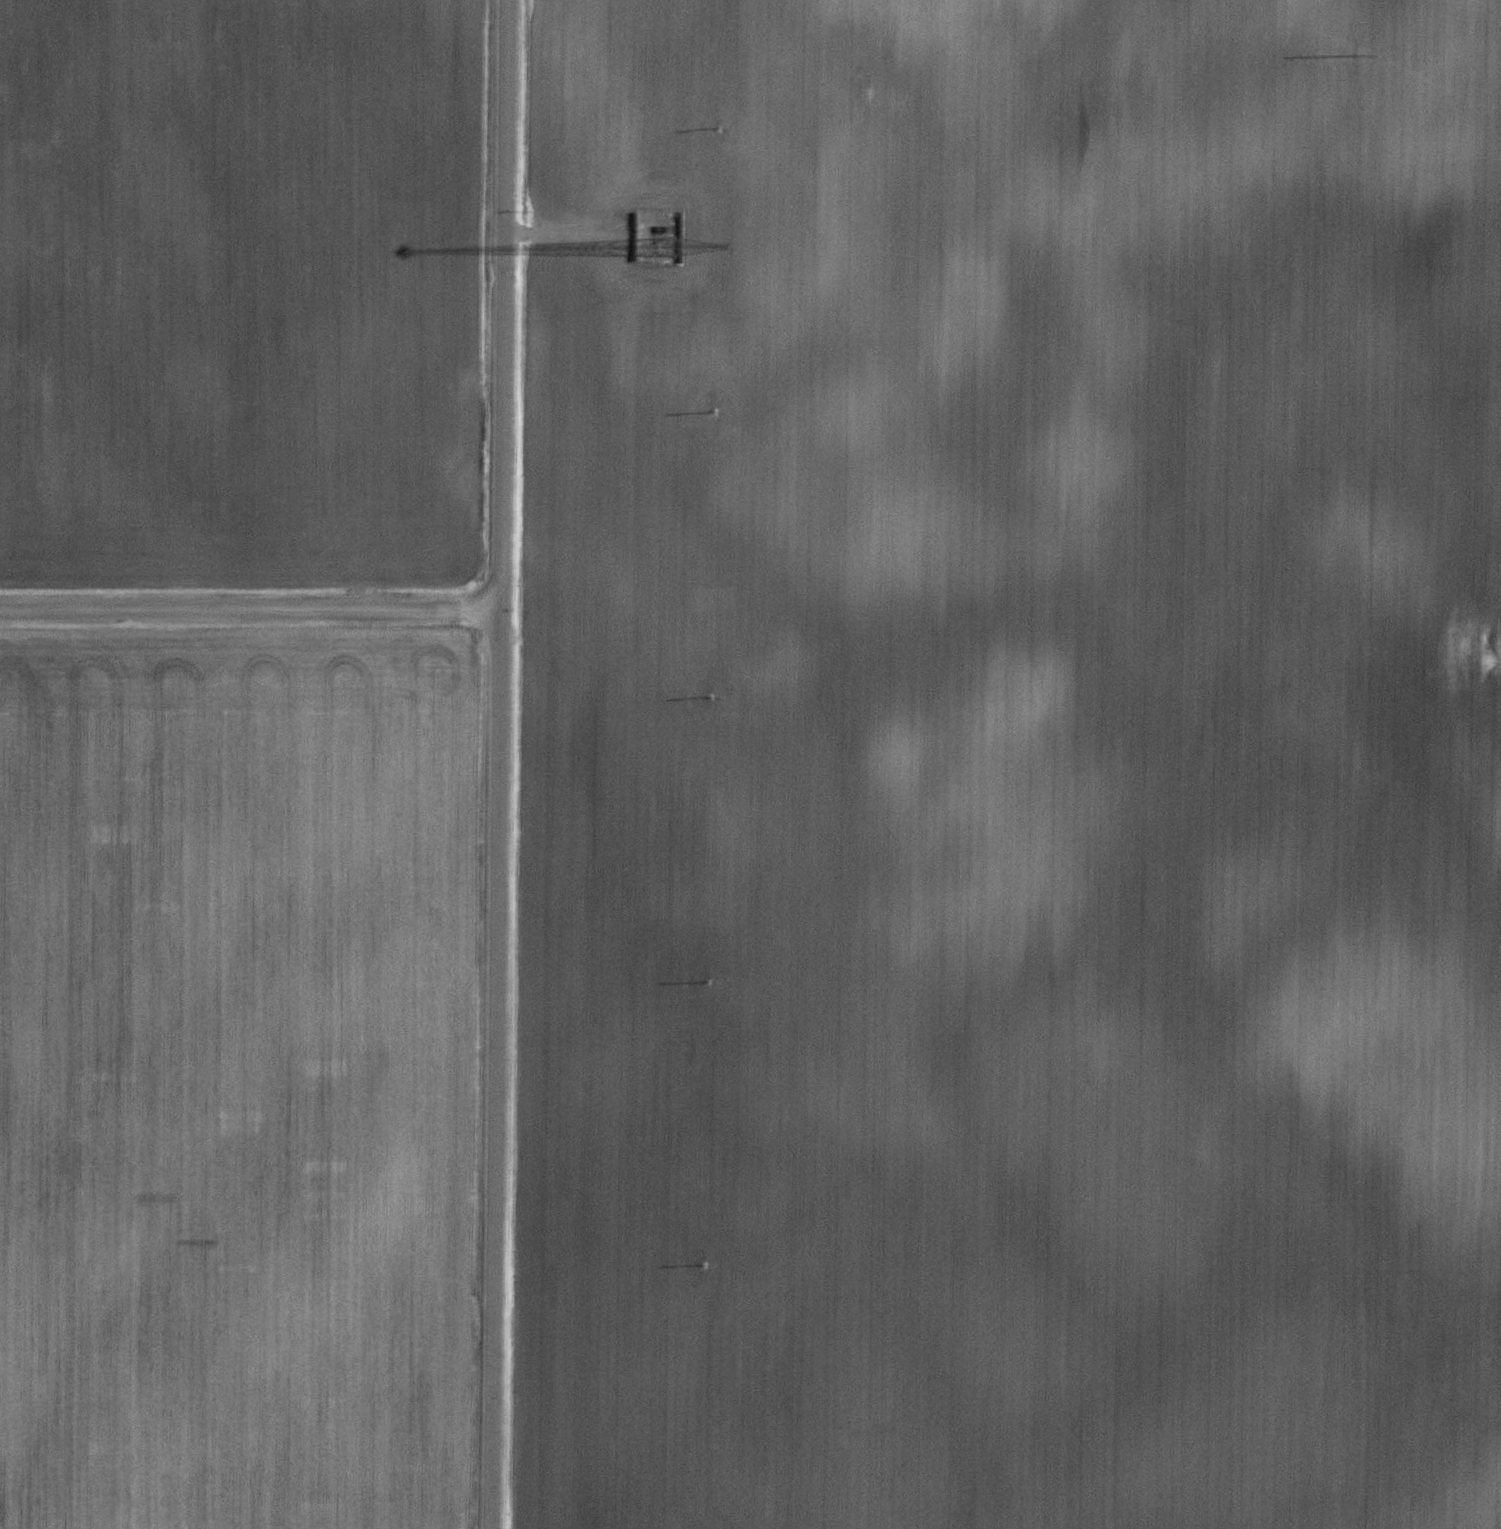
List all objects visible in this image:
road: (256, 612)
road: (509, 764)

